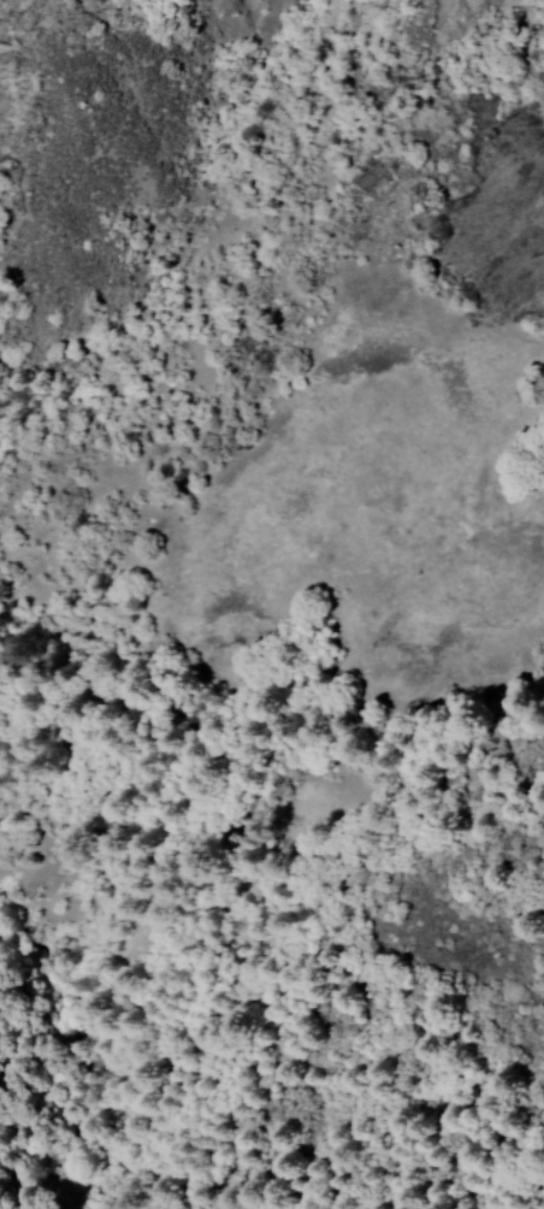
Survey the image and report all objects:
road: (0, 1208)

